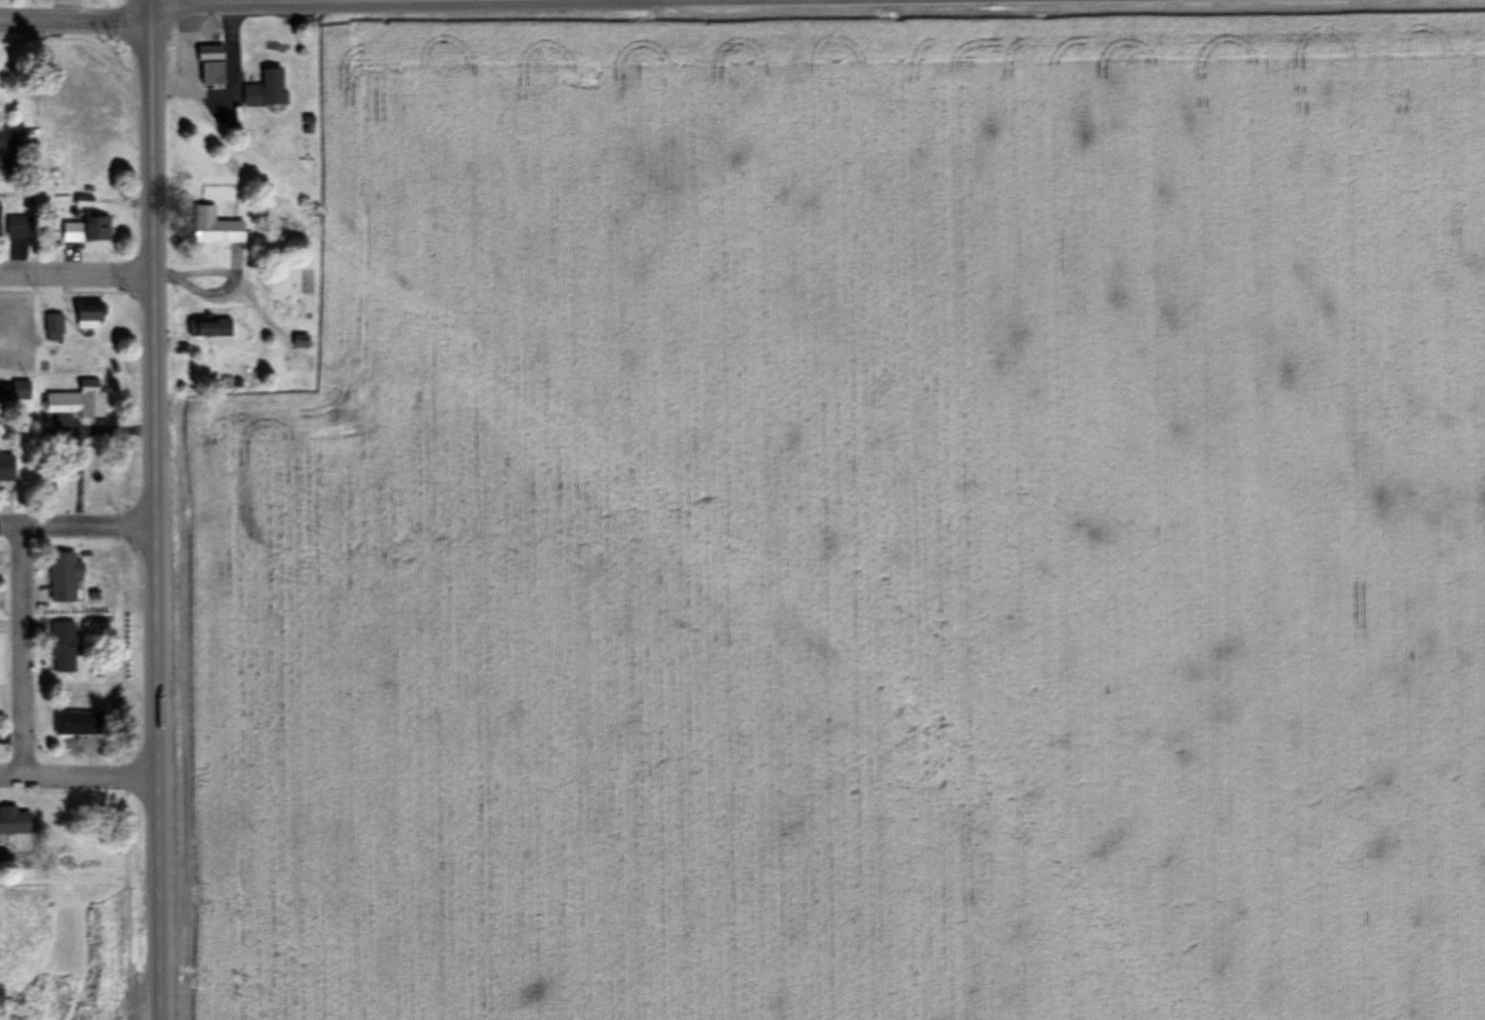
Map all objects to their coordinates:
building: (46, 0)
road: (596, 1)
road: (439, 4)
road: (150, 12)
road: (75, 24)
building: (212, 65)
building: (266, 89)
building: (10, 148)
building: (21, 225)
building: (216, 227)
building: (87, 229)
road: (76, 274)
building: (90, 314)
building: (5, 324)
building: (54, 327)
building: (214, 329)
building: (302, 341)
building: (21, 391)
building: (80, 400)
building: (6, 468)
road: (154, 522)
road: (77, 526)
building: (64, 577)
building: (64, 648)
road: (24, 650)
building: (79, 724)
road: (79, 776)
building: (15, 823)

